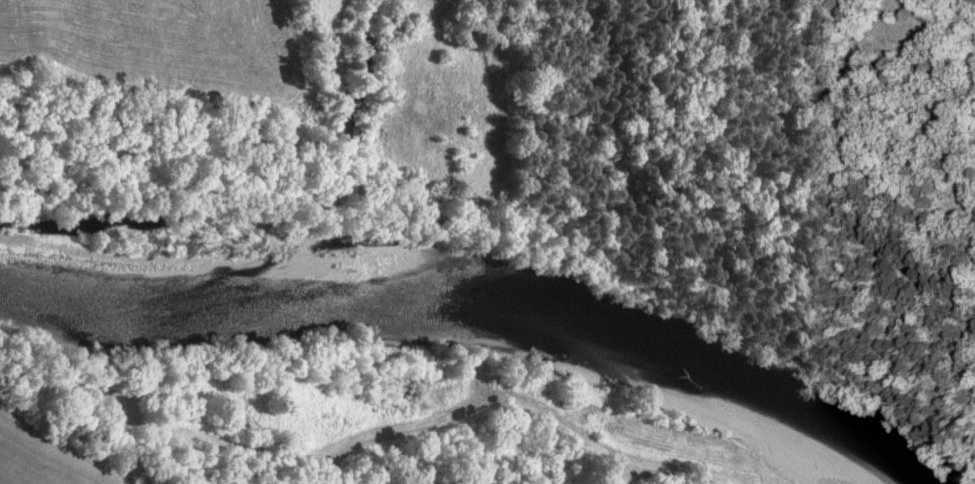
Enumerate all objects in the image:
river: (478, 317)

